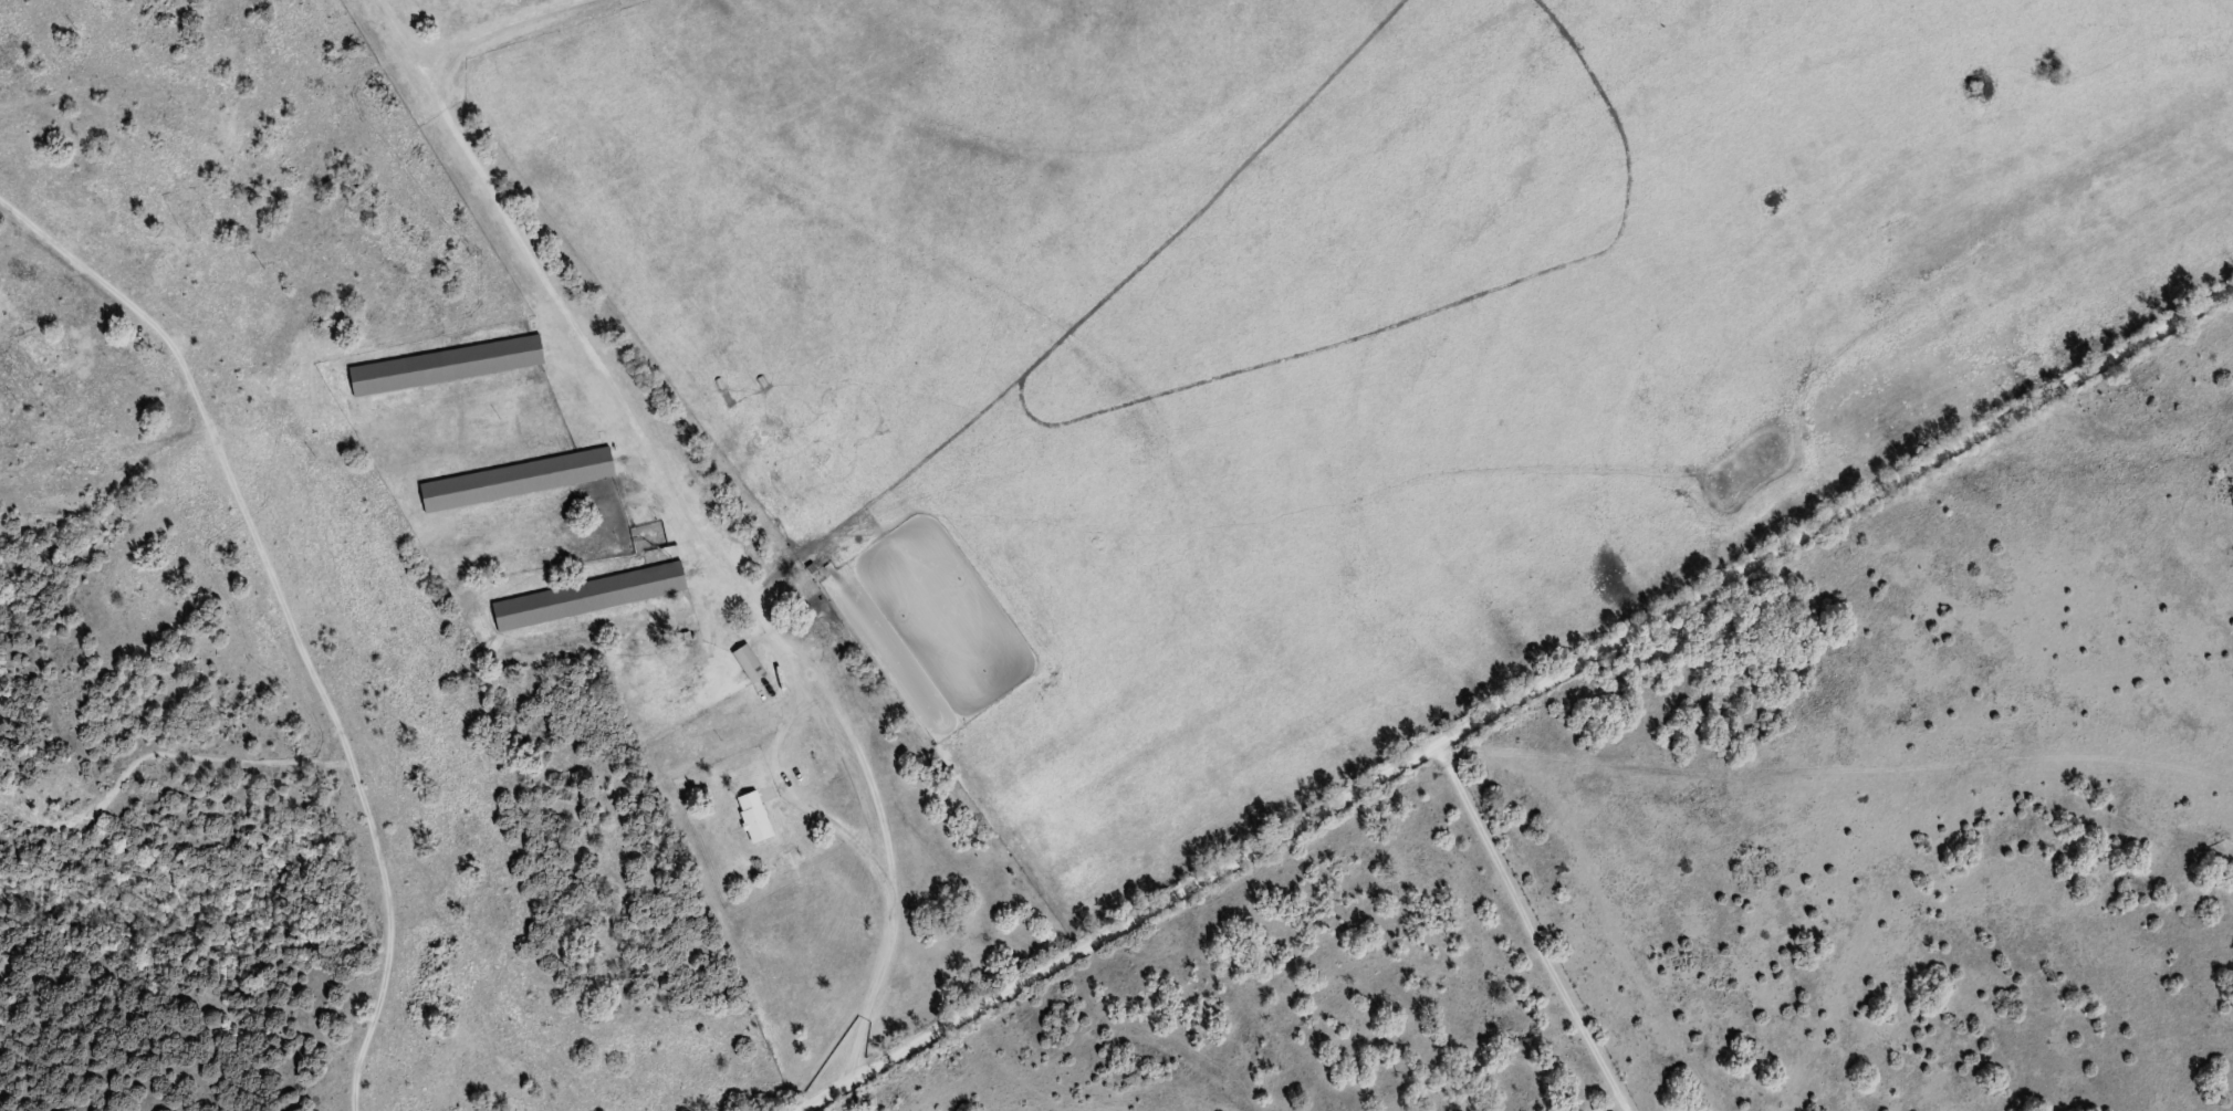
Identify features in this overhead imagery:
building: (447, 365)
building: (518, 479)
road: (688, 532)
building: (589, 596)
building: (750, 662)
road: (1512, 698)
road: (1858, 763)
building: (755, 817)
road: (1528, 926)

